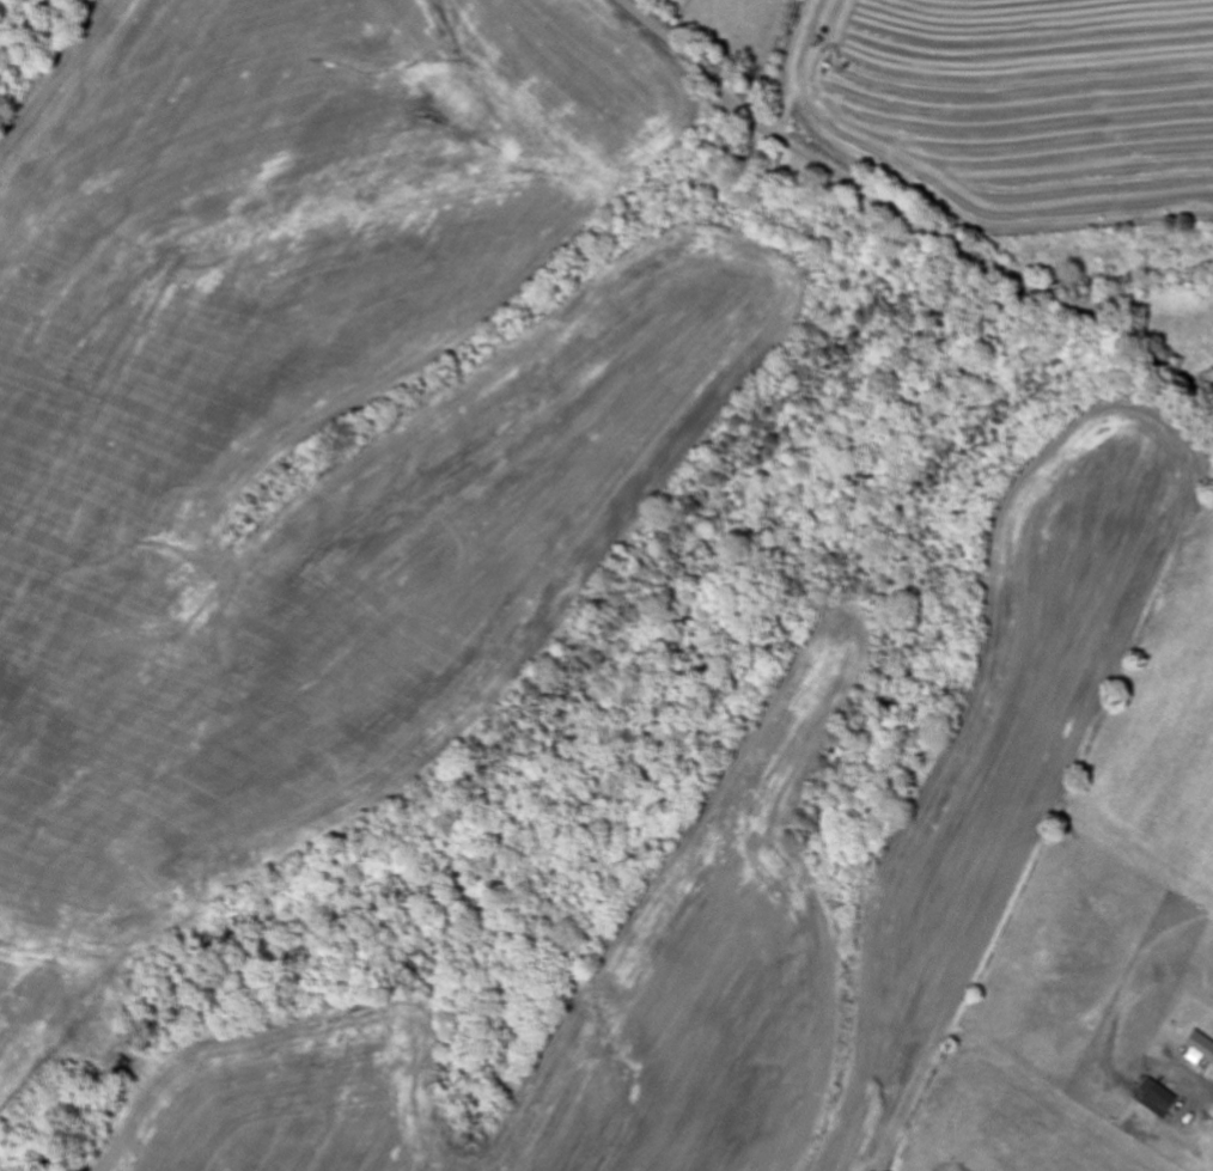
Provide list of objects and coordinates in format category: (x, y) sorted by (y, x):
road: (909, 219)
building: (1199, 1049)
building: (1154, 1099)

